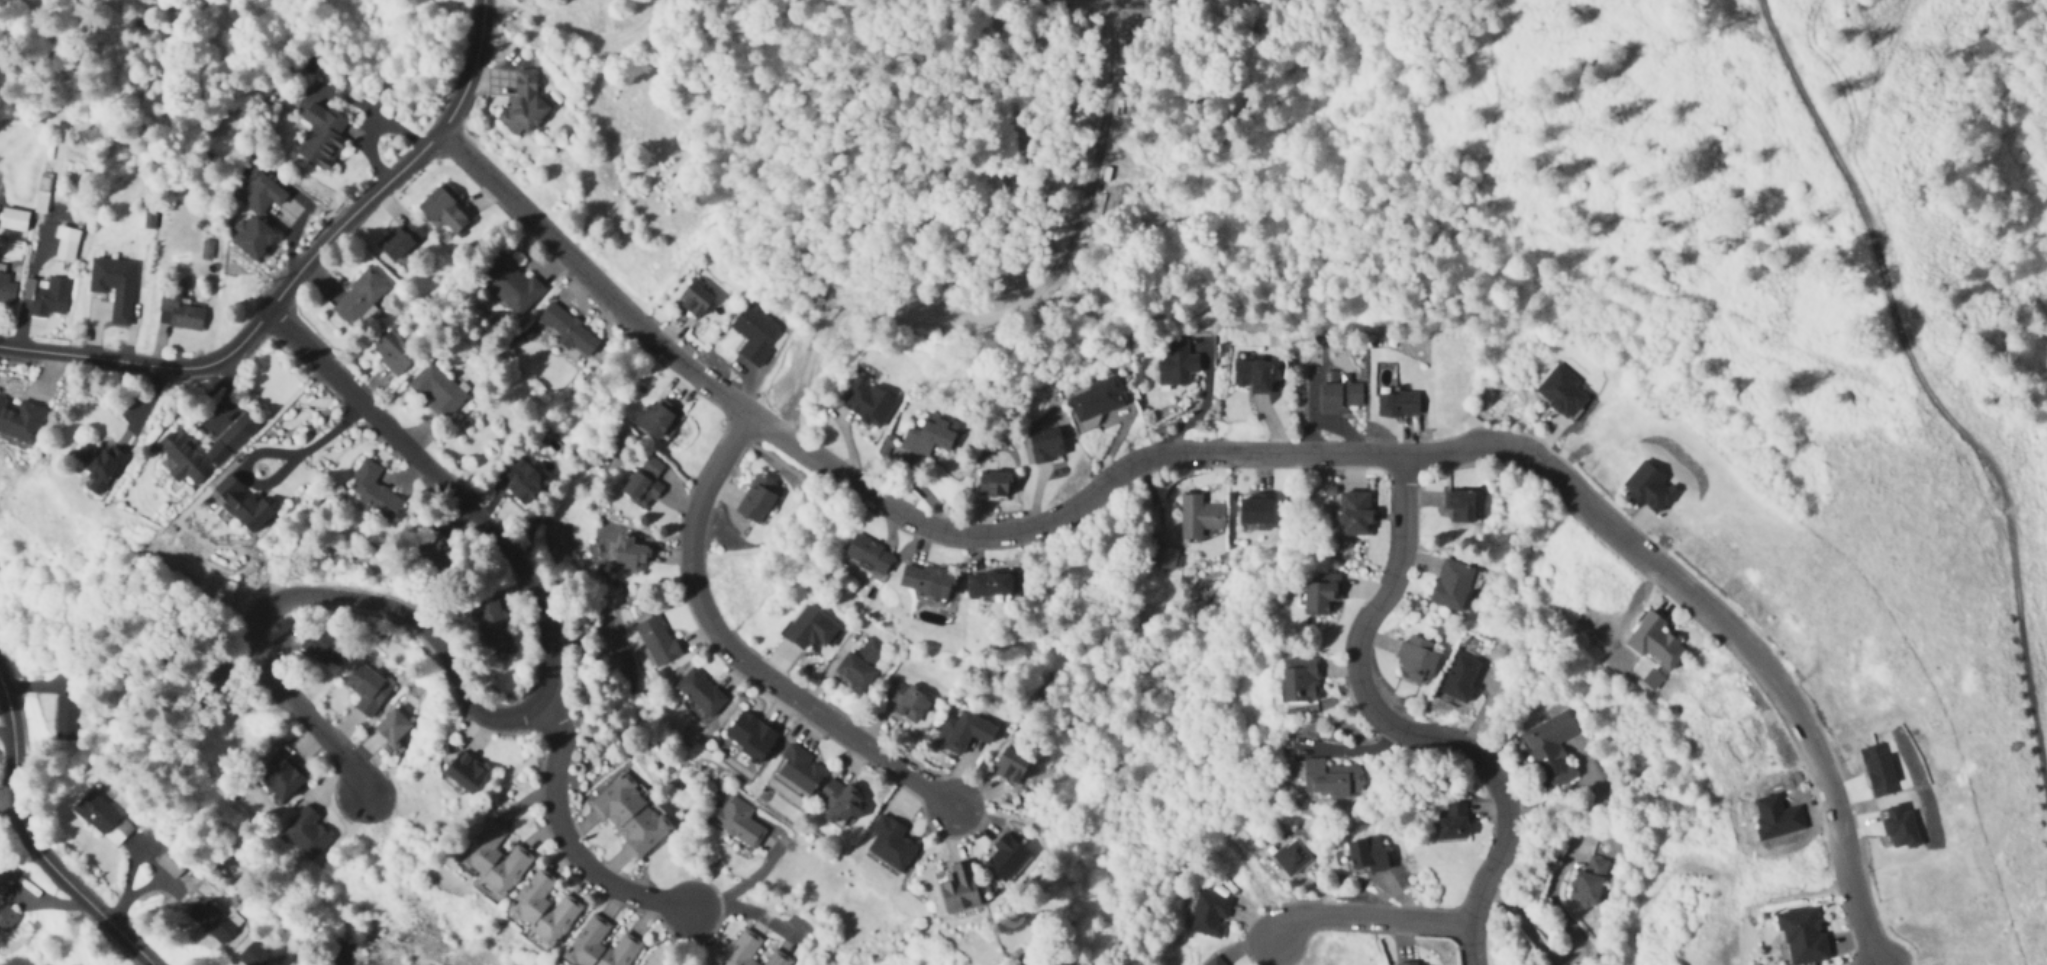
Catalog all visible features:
road: (473, 67)
building: (525, 106)
road: (370, 132)
building: (322, 137)
building: (42, 194)
building: (442, 211)
building: (257, 216)
building: (13, 219)
building: (402, 238)
building: (65, 244)
building: (113, 279)
building: (511, 283)
building: (6, 288)
building: (46, 295)
building: (359, 297)
building: (695, 300)
road: (1019, 301)
building: (178, 313)
road: (255, 325)
building: (568, 330)
building: (754, 334)
building: (393, 353)
building: (1176, 365)
building: (1253, 376)
road: (1925, 386)
building: (437, 390)
building: (1562, 392)
building: (1338, 398)
building: (1097, 400)
building: (868, 403)
building: (1398, 404)
road: (1197, 413)
building: (20, 420)
building: (659, 420)
building: (930, 437)
building: (1047, 446)
road: (1479, 448)
building: (206, 449)
building: (99, 461)
road: (275, 480)
building: (522, 481)
building: (644, 484)
building: (996, 485)
building: (1650, 488)
building: (374, 492)
road: (871, 494)
building: (758, 500)
building: (242, 503)
building: (1460, 506)
building: (1257, 510)
building: (1356, 514)
building: (1200, 517)
building: (437, 551)
building: (870, 555)
building: (631, 556)
building: (928, 582)
building: (1453, 586)
building: (993, 587)
building: (1322, 595)
building: (493, 624)
building: (809, 629)
building: (658, 640)
building: (1656, 643)
building: (330, 649)
road: (737, 653)
building: (1417, 660)
building: (860, 667)
building: (1461, 678)
building: (1301, 681)
building: (367, 689)
building: (701, 693)
building: (906, 702)
road: (510, 715)
building: (66, 716)
building: (393, 727)
road: (6, 732)
building: (964, 733)
building: (751, 738)
building: (1552, 748)
building: (1012, 767)
building: (800, 770)
building: (466, 773)
building: (281, 776)
building: (1328, 778)
building: (842, 803)
building: (631, 816)
building: (103, 818)
building: (738, 822)
building: (1453, 823)
building: (306, 833)
road: (565, 835)
road: (31, 841)
building: (891, 844)
building: (1367, 854)
building: (1292, 858)
building: (495, 859)
building: (1007, 859)
building: (7, 877)
building: (1589, 882)
building: (961, 888)
building: (544, 908)
road: (1370, 914)
building: (1210, 915)
building: (7, 917)
building: (215, 922)
building: (1803, 936)
building: (601, 945)
building: (742, 949)
building: (264, 956)
road: (1571, 957)
building: (777, 959)
building: (1214, 961)
building: (1410, 963)

